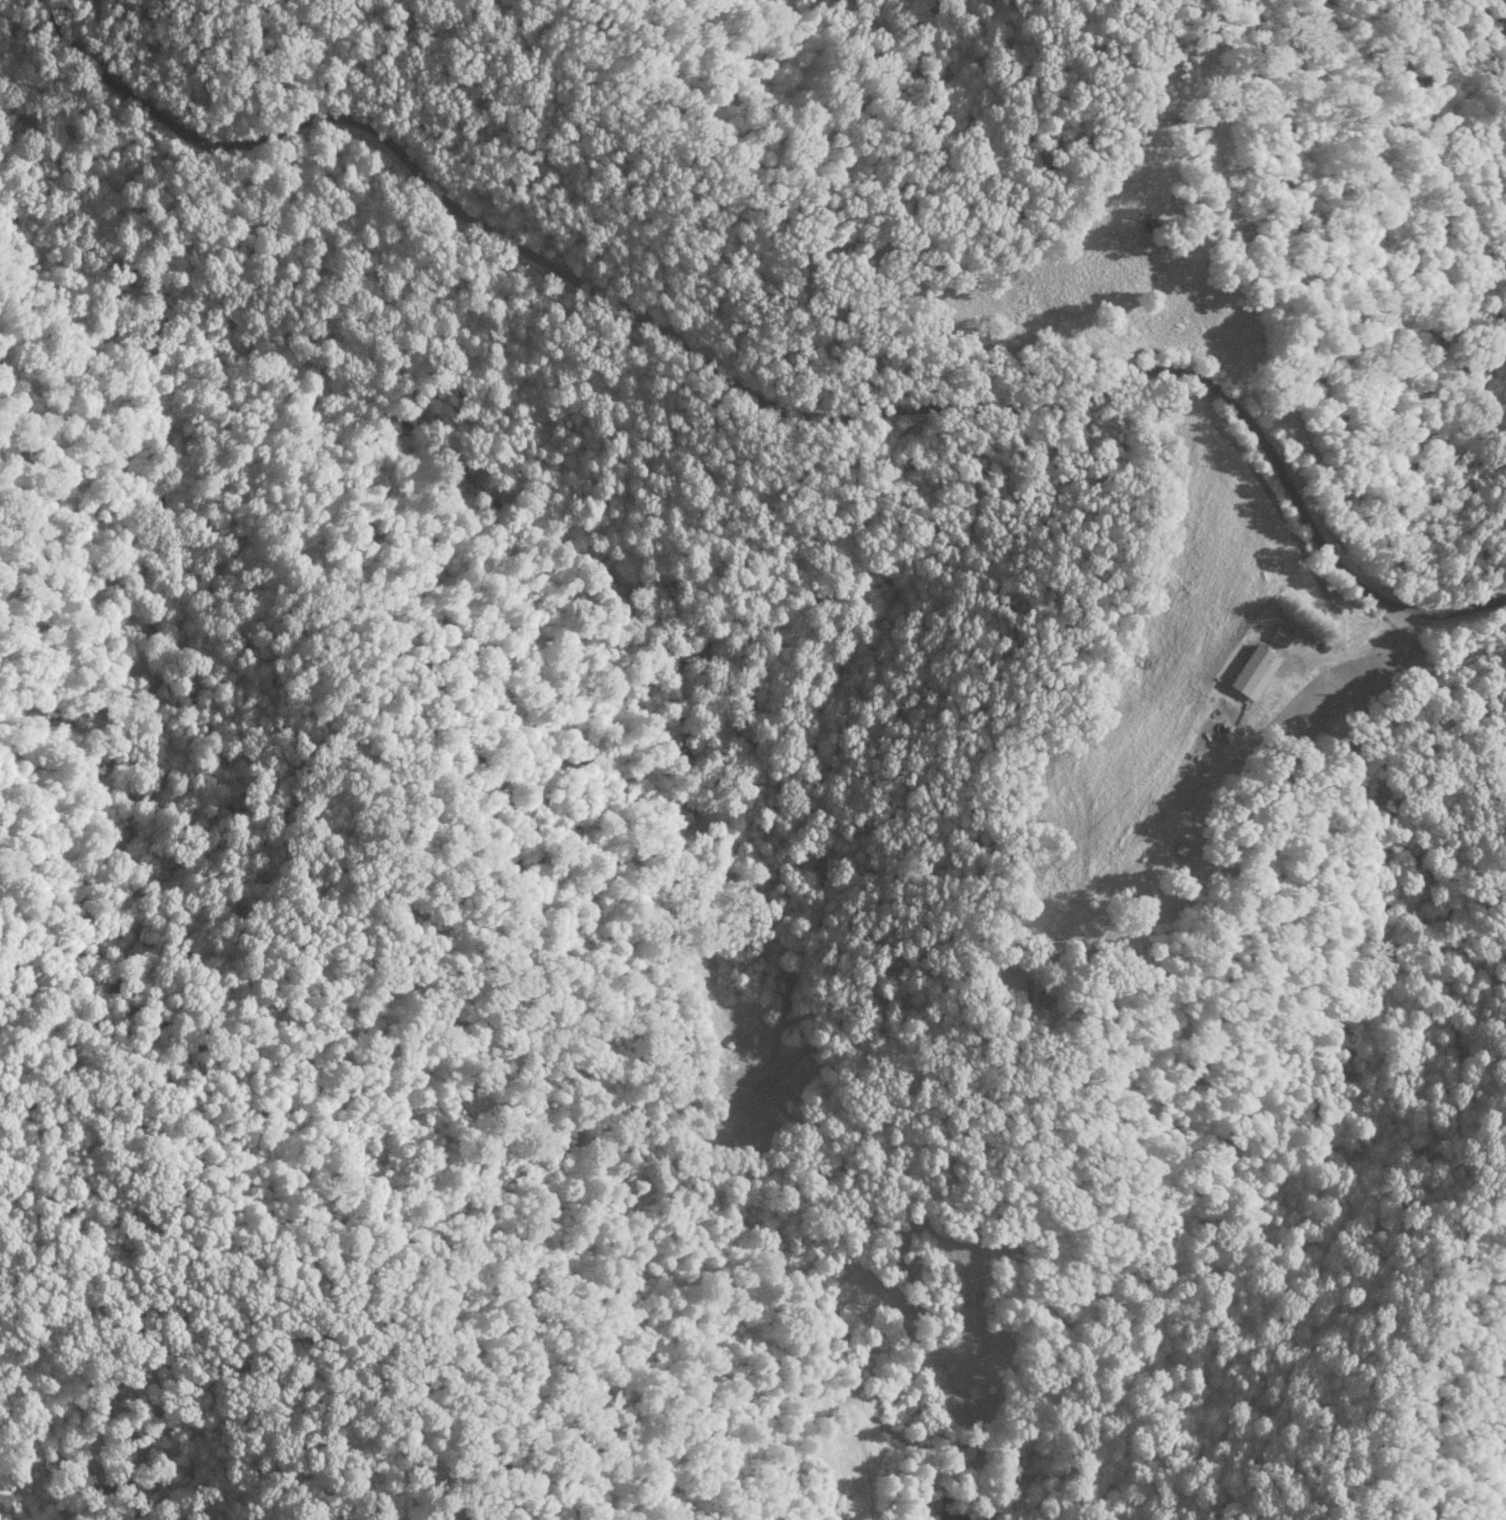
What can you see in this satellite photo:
road: (770, 365)
building: (1046, 1001)

